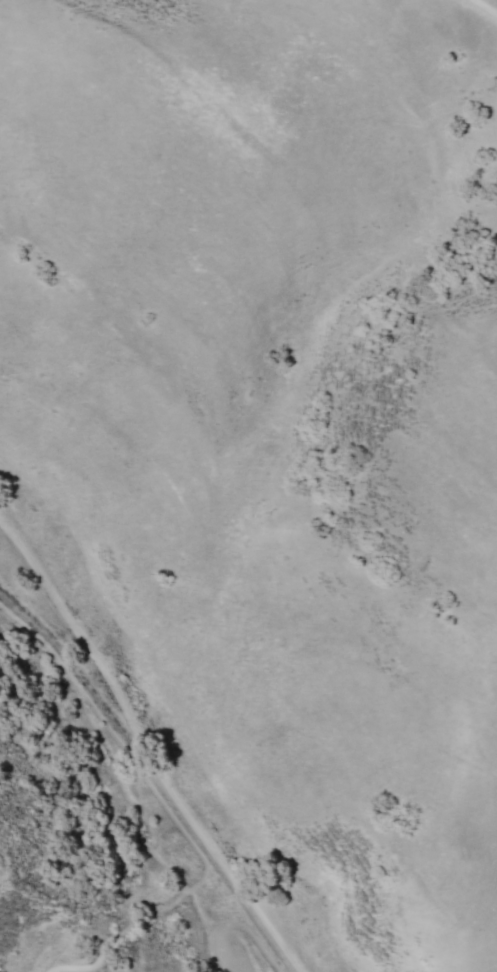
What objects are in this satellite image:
road: (486, 6)

